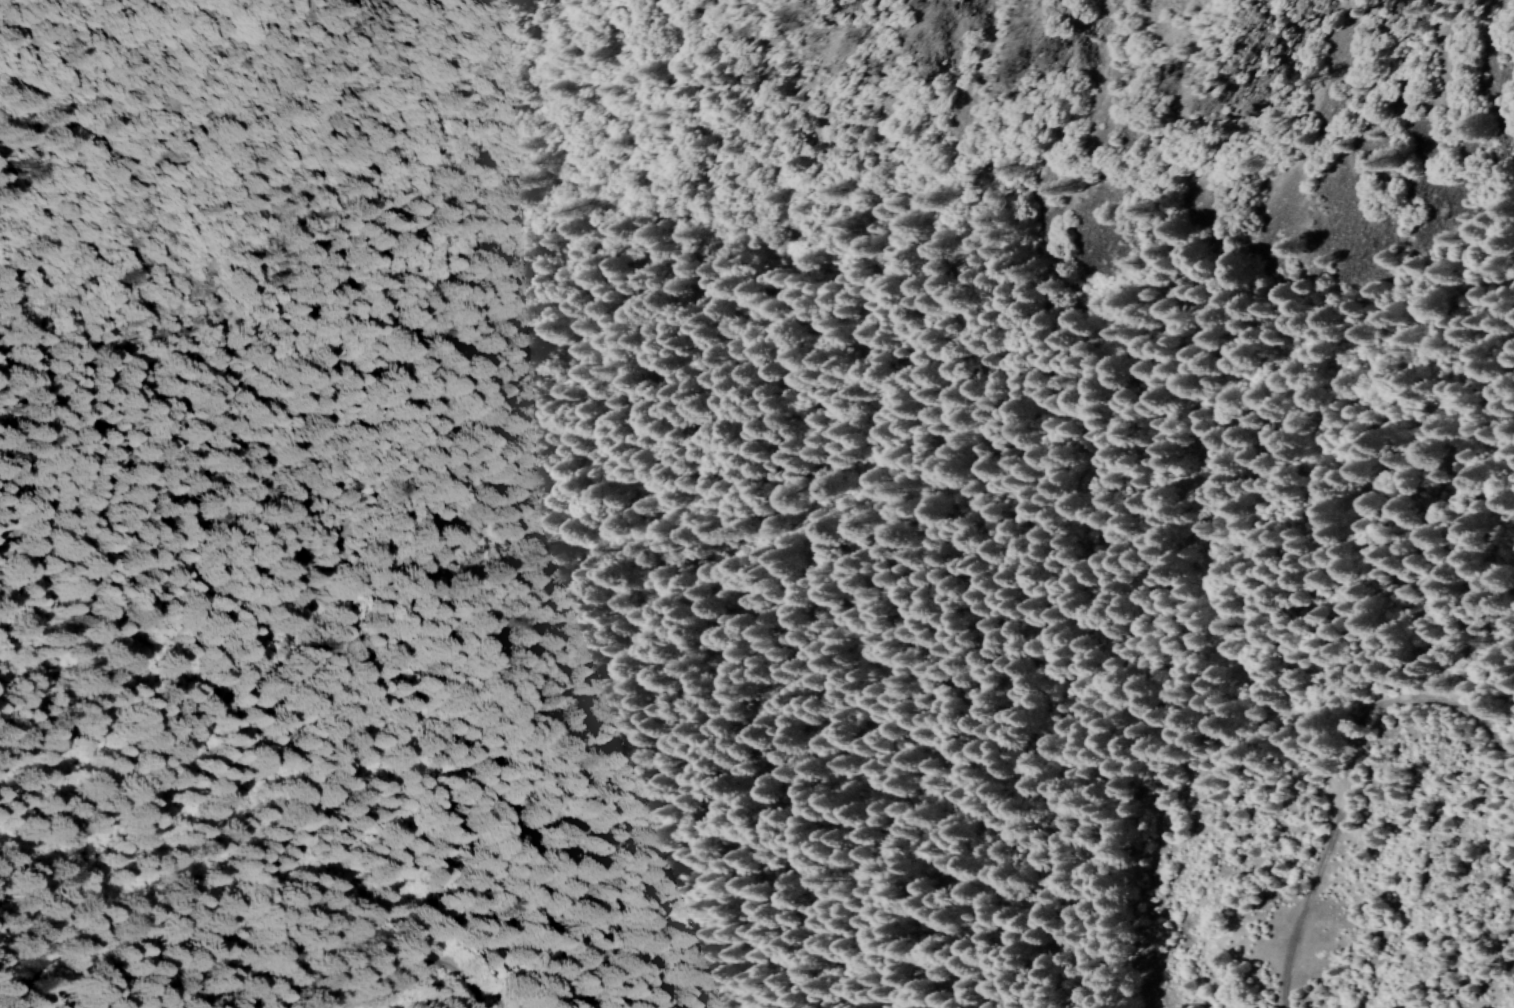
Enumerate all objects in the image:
road: (1350, 756)
road: (435, 971)

